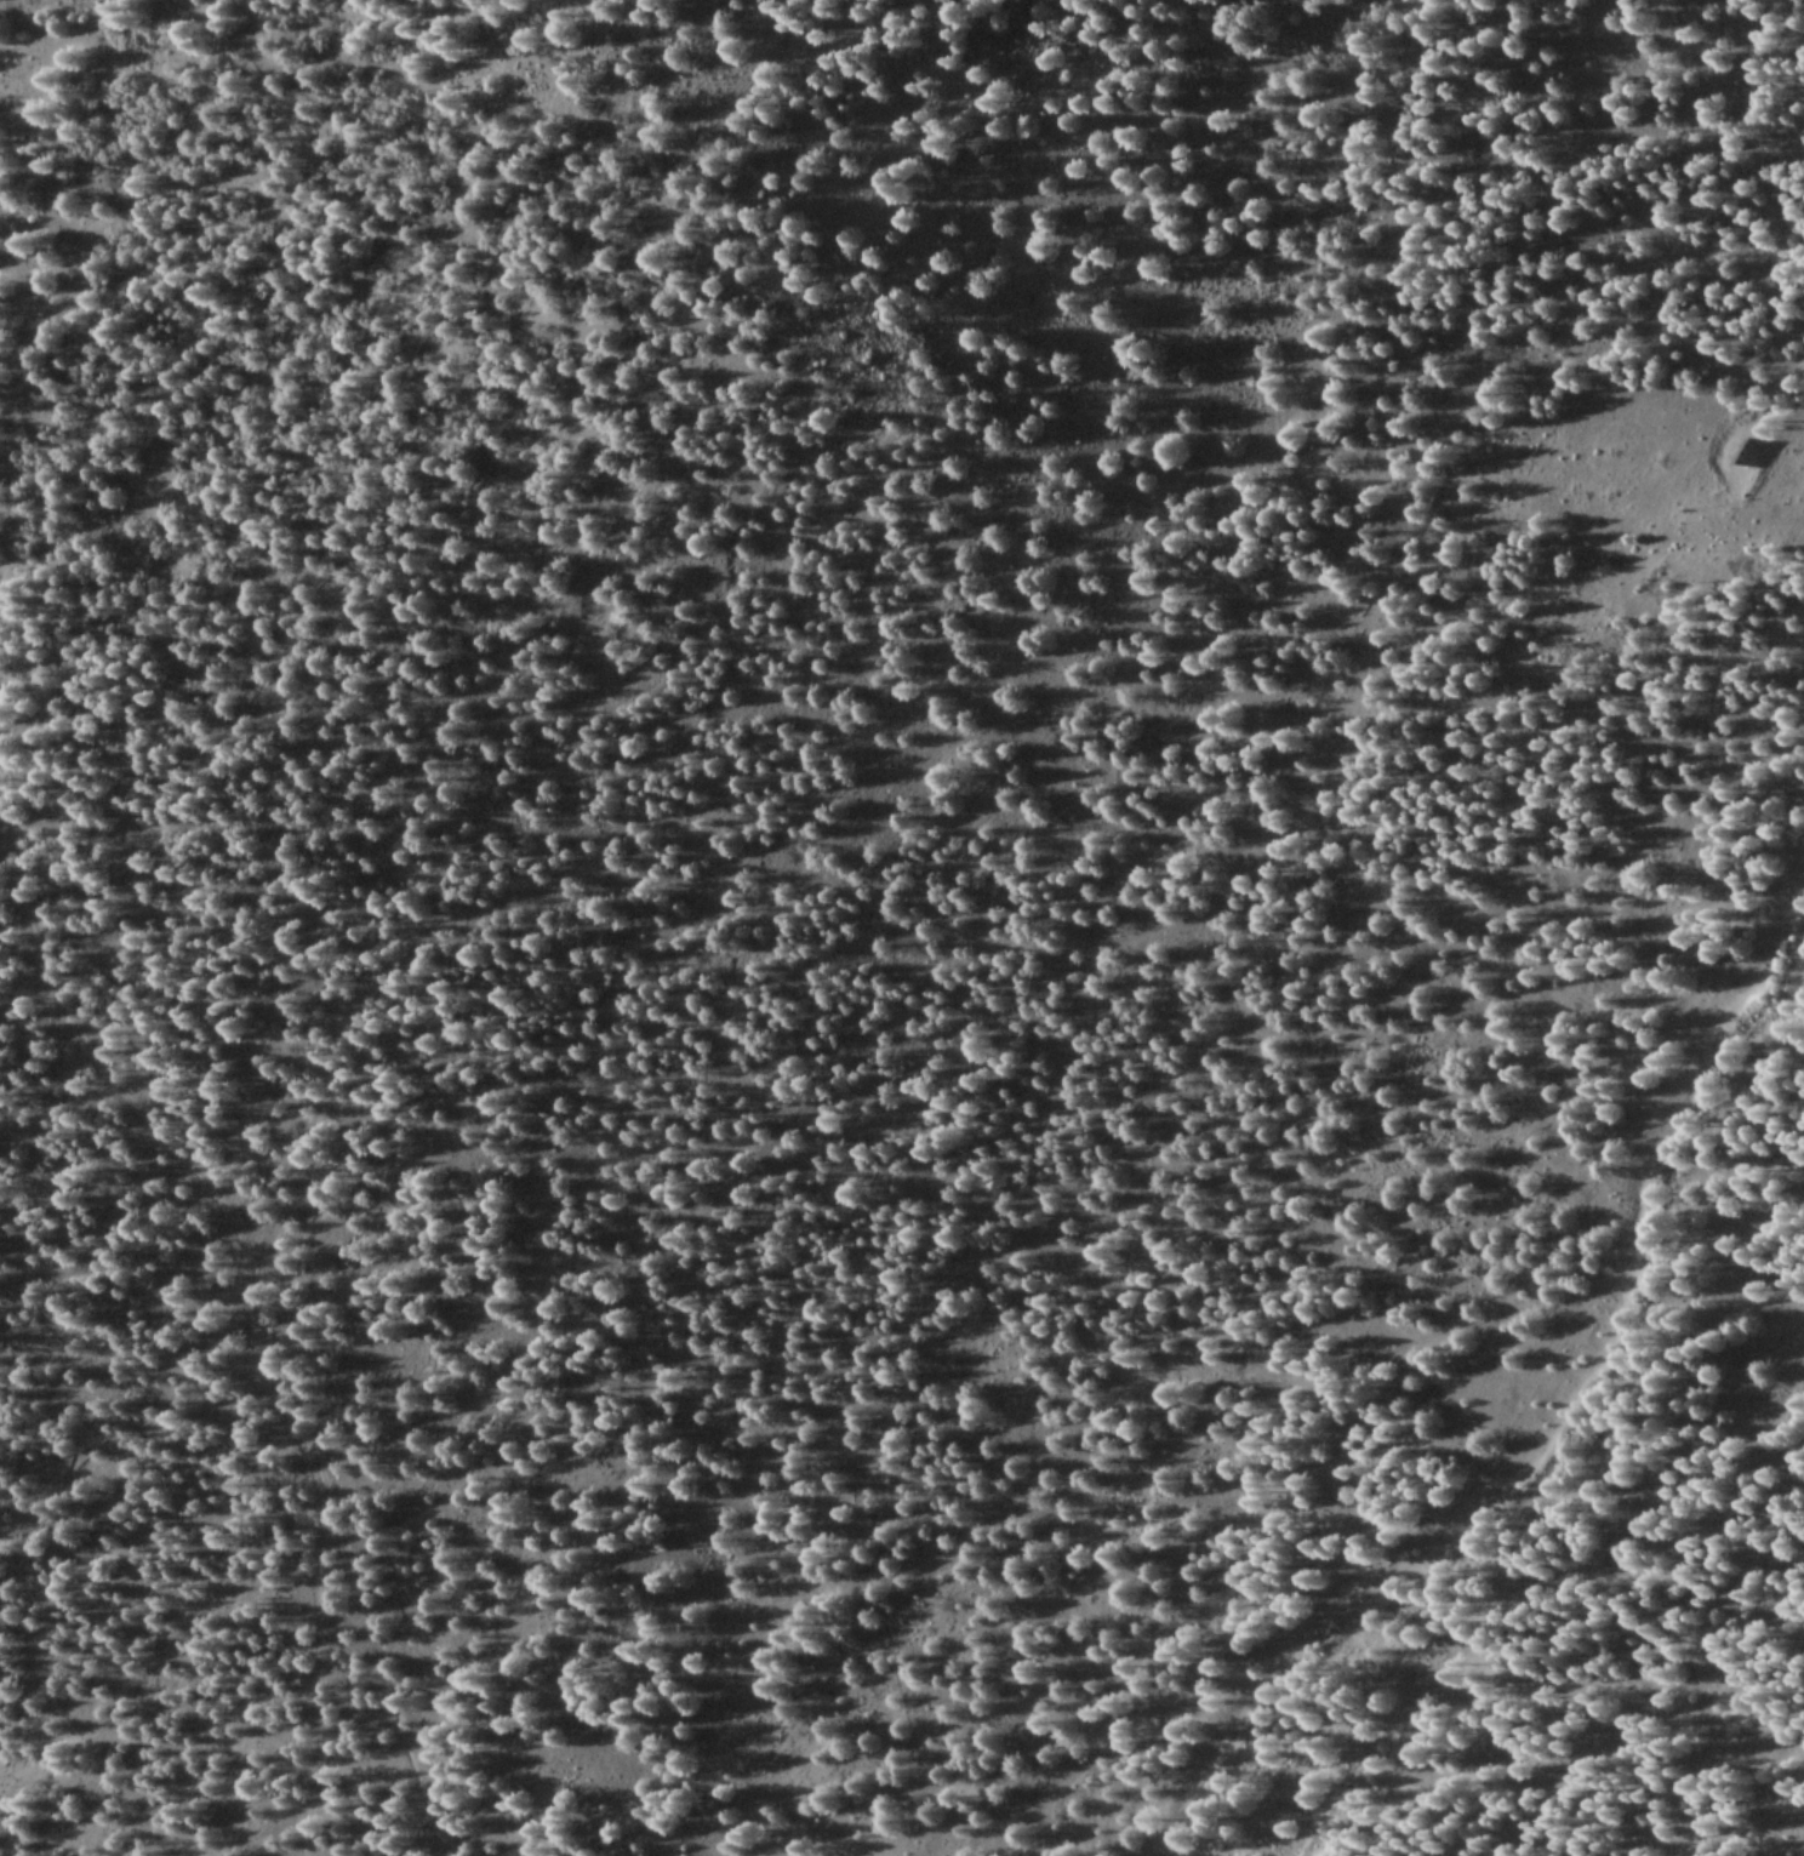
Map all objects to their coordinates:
park: (1747, 1846)

